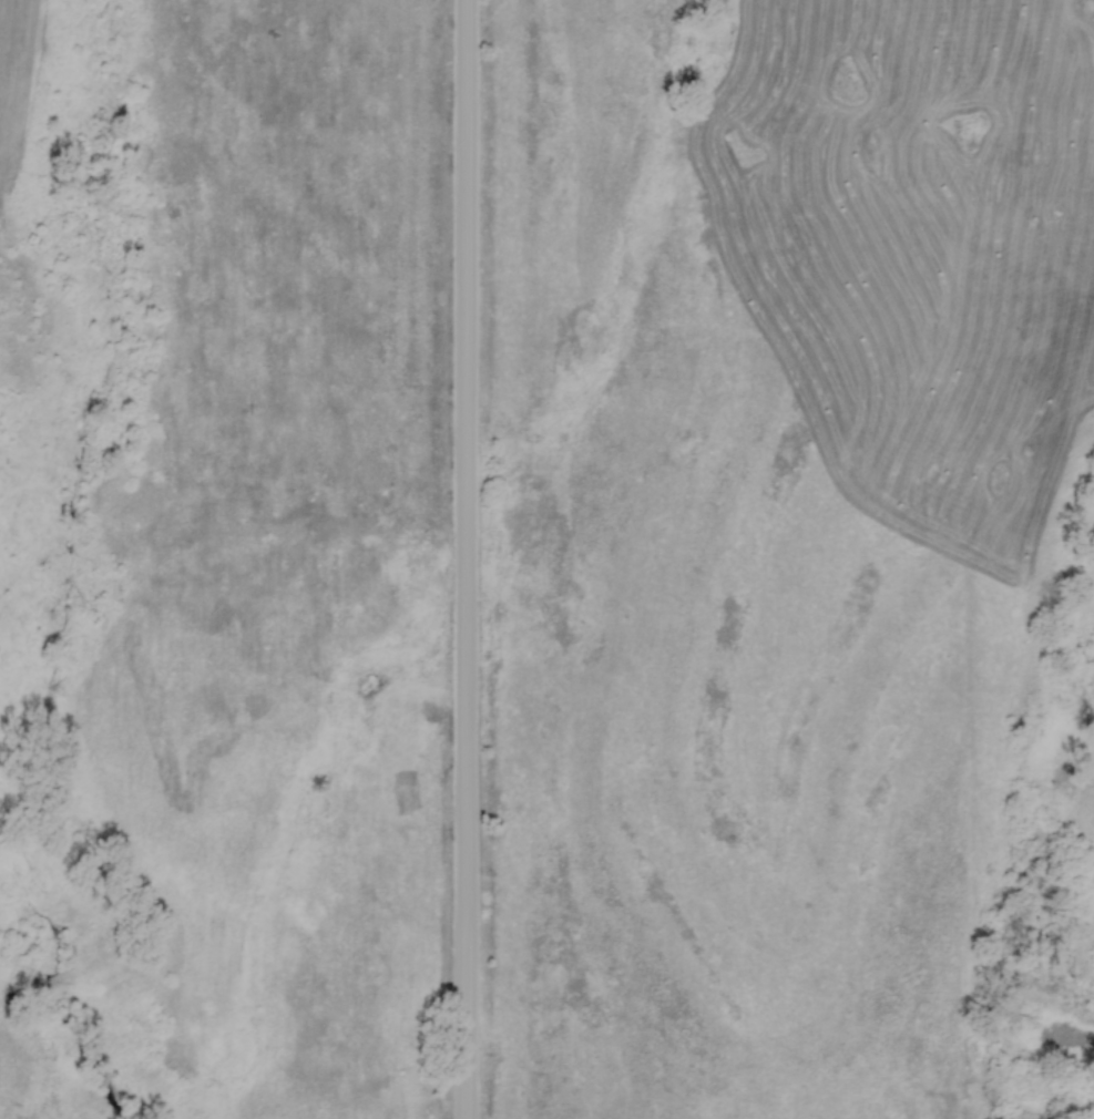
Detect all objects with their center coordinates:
road: (464, 558)
road: (628, 964)

